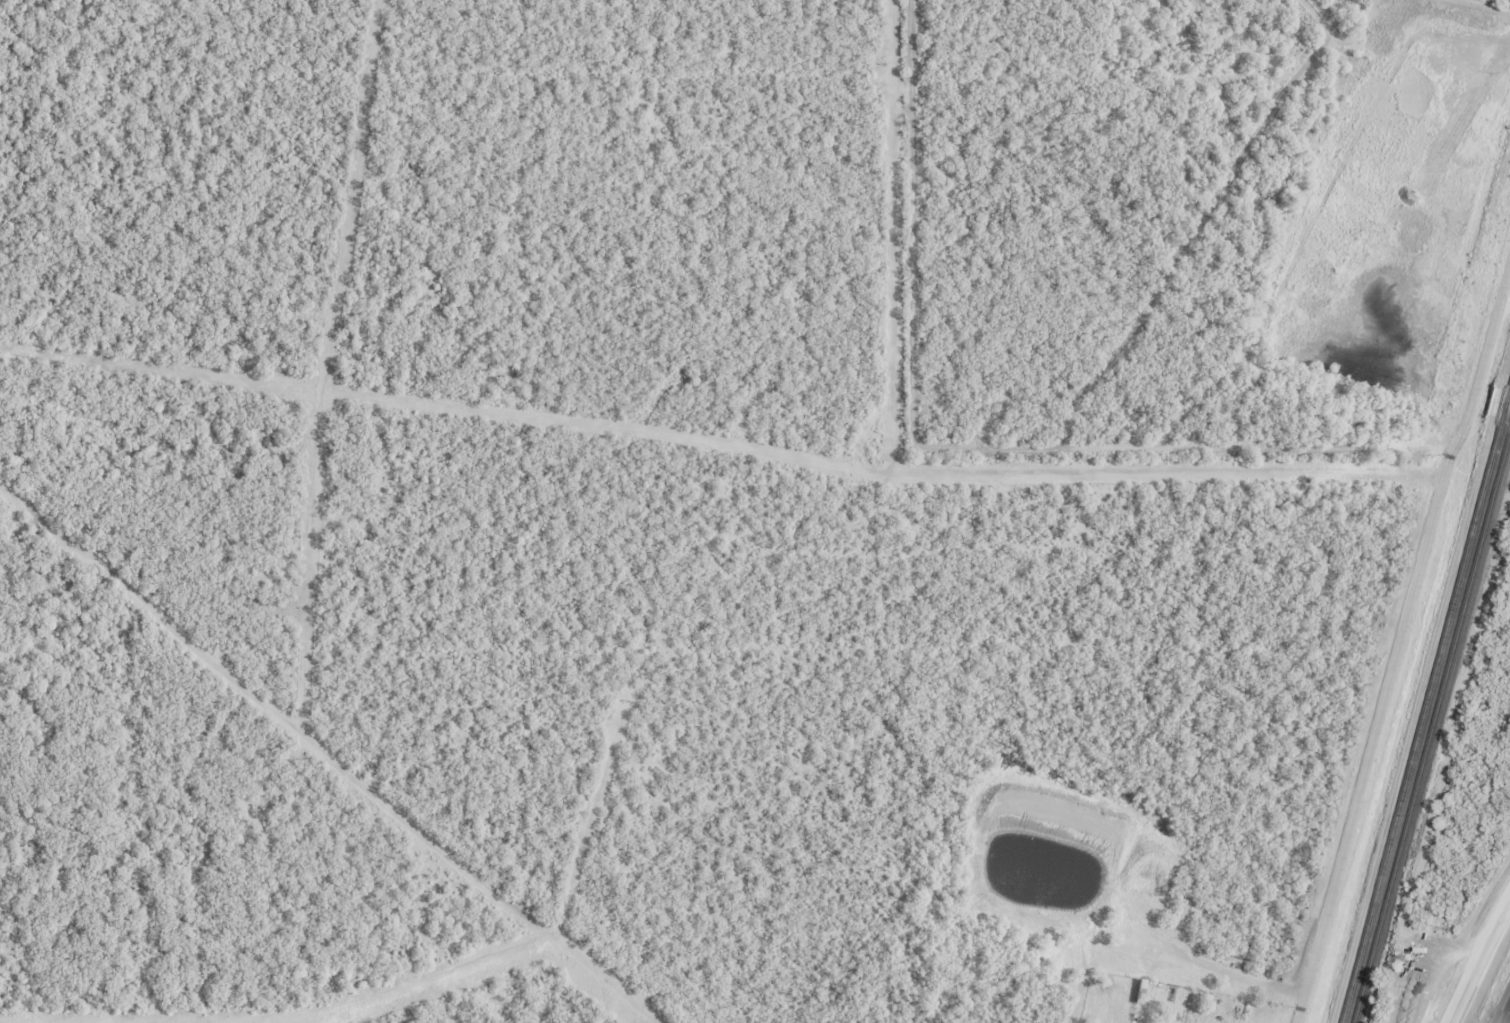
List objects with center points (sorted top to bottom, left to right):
railway: (1430, 727)
road: (1480, 958)
road: (1506, 1015)

